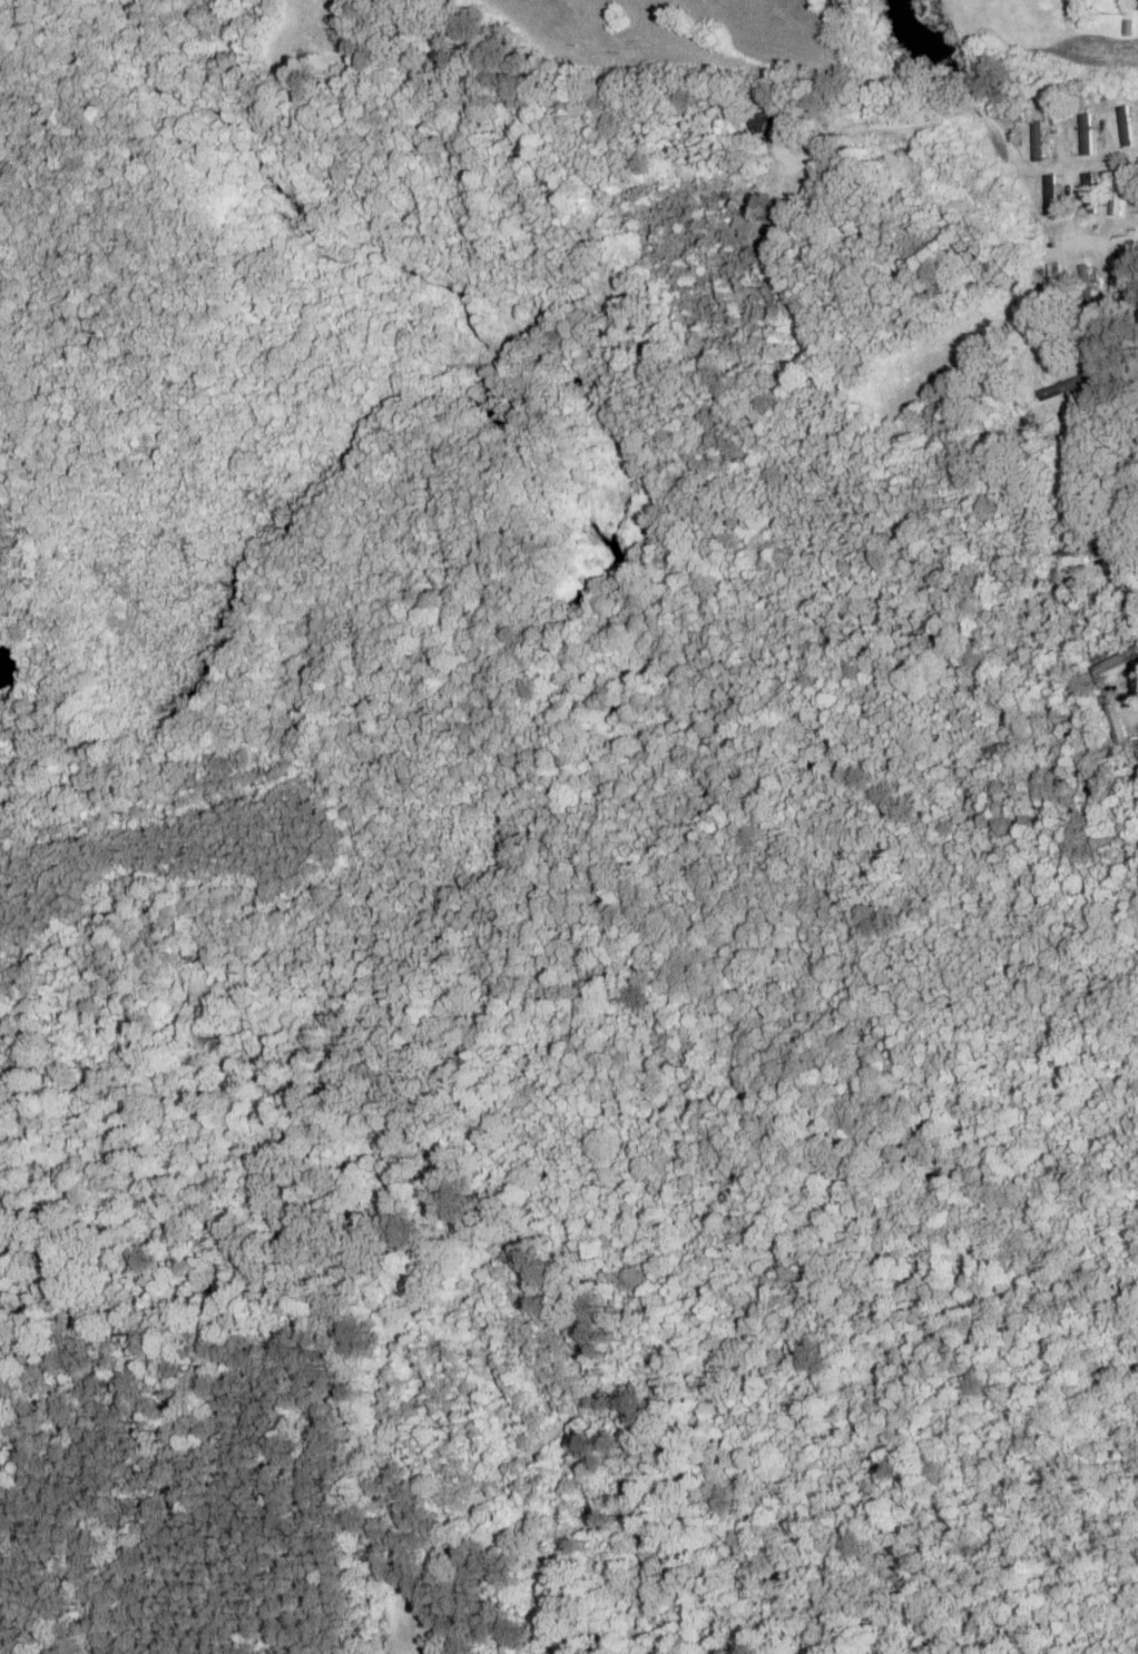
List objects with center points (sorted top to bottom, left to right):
building: (1135, 7)
road: (980, 114)
building: (762, 124)
building: (1121, 125)
building: (1085, 134)
building: (1034, 141)
building: (1116, 194)
building: (1049, 197)
building: (1090, 198)
building: (1122, 265)
building: (1087, 287)
building: (1039, 288)
road: (975, 318)
building: (1066, 383)
building: (1132, 456)
building: (1081, 549)
building: (1106, 666)
building: (1115, 727)

